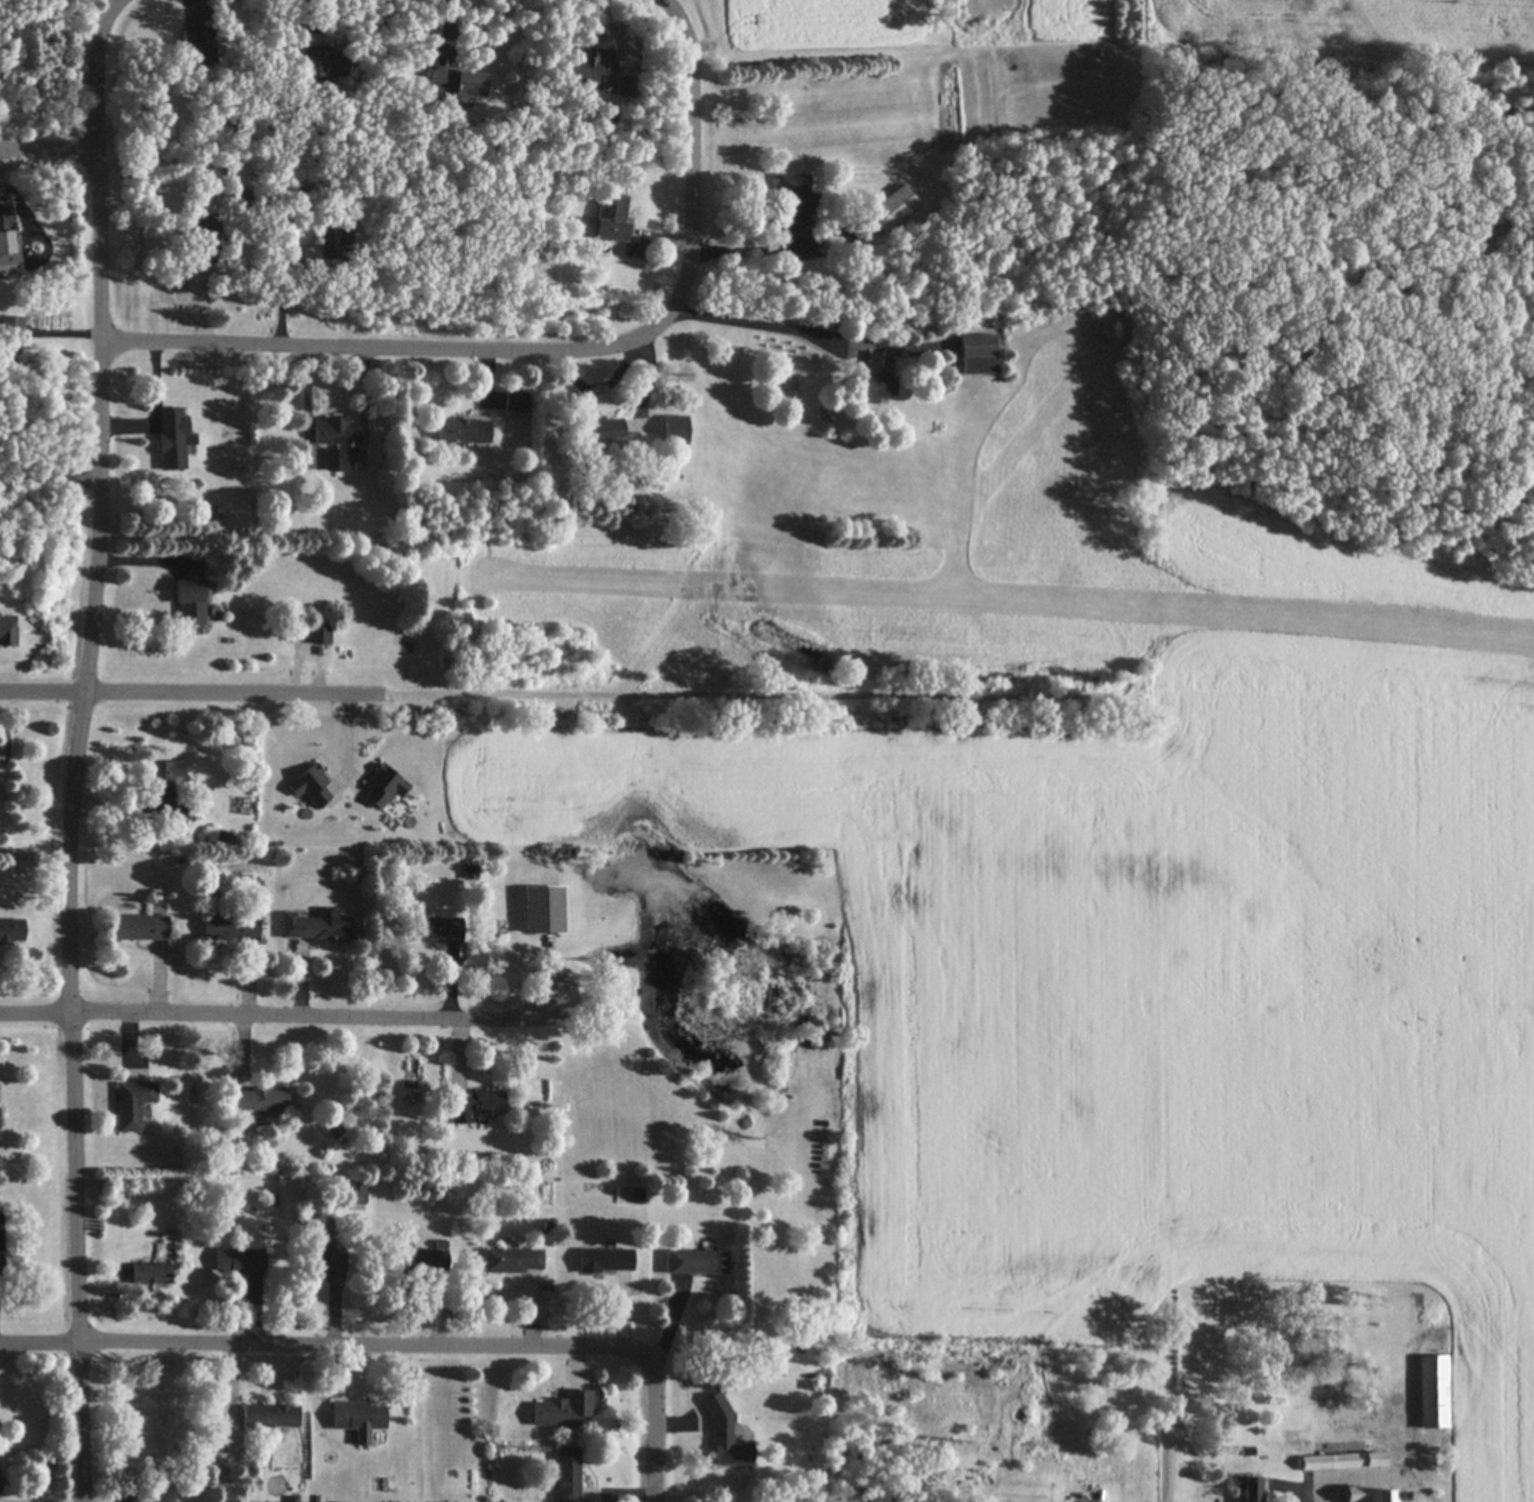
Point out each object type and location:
building: (198, 45)
building: (323, 62)
building: (589, 68)
road: (94, 69)
building: (458, 82)
road: (45, 144)
building: (796, 203)
building: (894, 209)
building: (611, 217)
building: (203, 226)
building: (334, 242)
building: (6, 244)
road: (749, 324)
building: (13, 327)
road: (551, 347)
building: (980, 356)
building: (877, 380)
building: (336, 431)
building: (463, 431)
building: (600, 431)
building: (675, 431)
building: (171, 439)
building: (336, 461)
road: (50, 491)
building: (189, 605)
building: (319, 634)
road: (576, 706)
road: (986, 780)
building: (166, 791)
road: (72, 822)
building: (543, 910)
building: (141, 928)
building: (230, 928)
building: (315, 929)
building: (11, 930)
building: (439, 931)
road: (34, 1016)
road: (313, 1017)
building: (260, 1099)
building: (132, 1104)
building: (473, 1104)
building: (356, 1195)
building: (1, 1242)
building: (323, 1256)
building: (239, 1259)
building: (418, 1261)
building: (512, 1262)
building: (605, 1262)
building: (696, 1264)
building: (150, 1275)
road: (38, 1352)
road: (366, 1355)
building: (1434, 1392)
building: (562, 1411)
building: (270, 1417)
building: (358, 1420)
road: (655, 1429)
building: (726, 1439)
building: (1349, 1462)
building: (567, 1474)
building: (1248, 1488)
building: (1366, 1495)
building: (147, 1498)
road: (1321, 1500)
building: (19, 1501)

